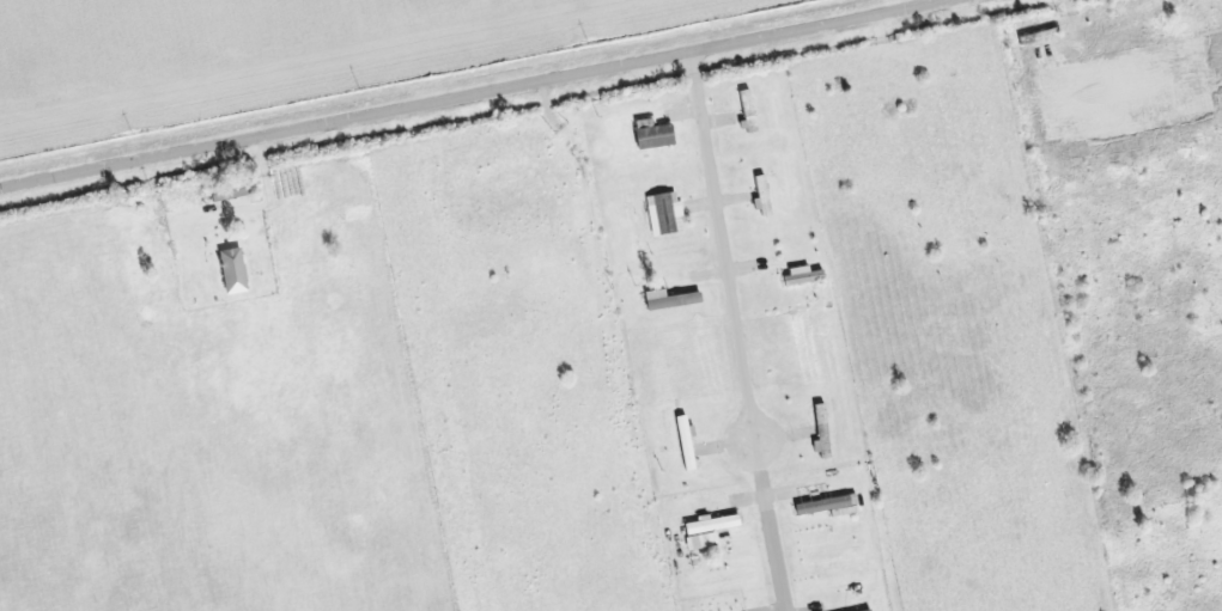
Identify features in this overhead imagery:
road: (481, 96)
building: (748, 111)
building: (655, 136)
building: (764, 196)
building: (665, 214)
building: (235, 271)
road: (726, 274)
building: (798, 276)
building: (670, 300)
building: (687, 445)
building: (711, 527)
road: (776, 551)
building: (871, 610)

